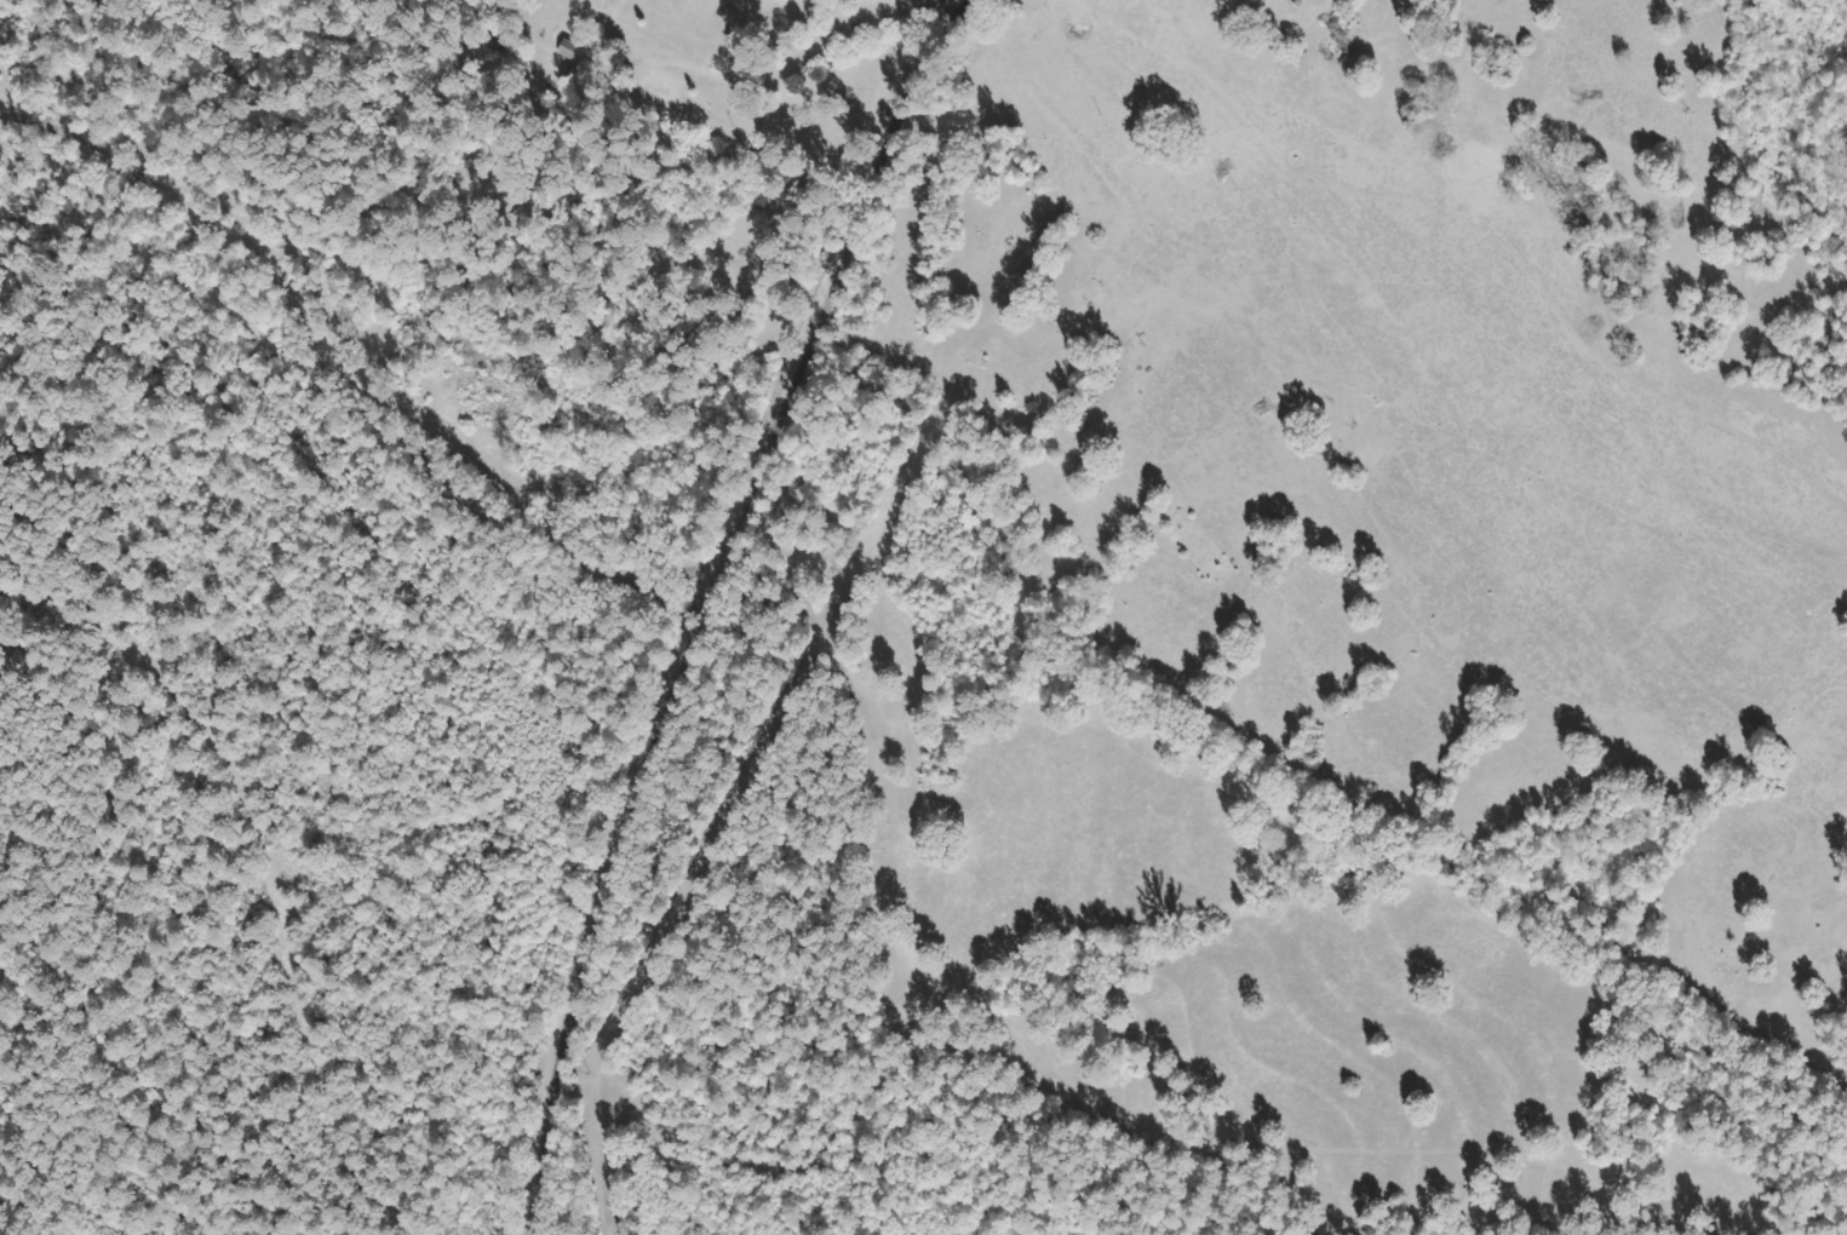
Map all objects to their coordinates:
road: (855, 13)
road: (907, 13)
road: (1551, 276)
road: (658, 622)
road: (243, 885)

